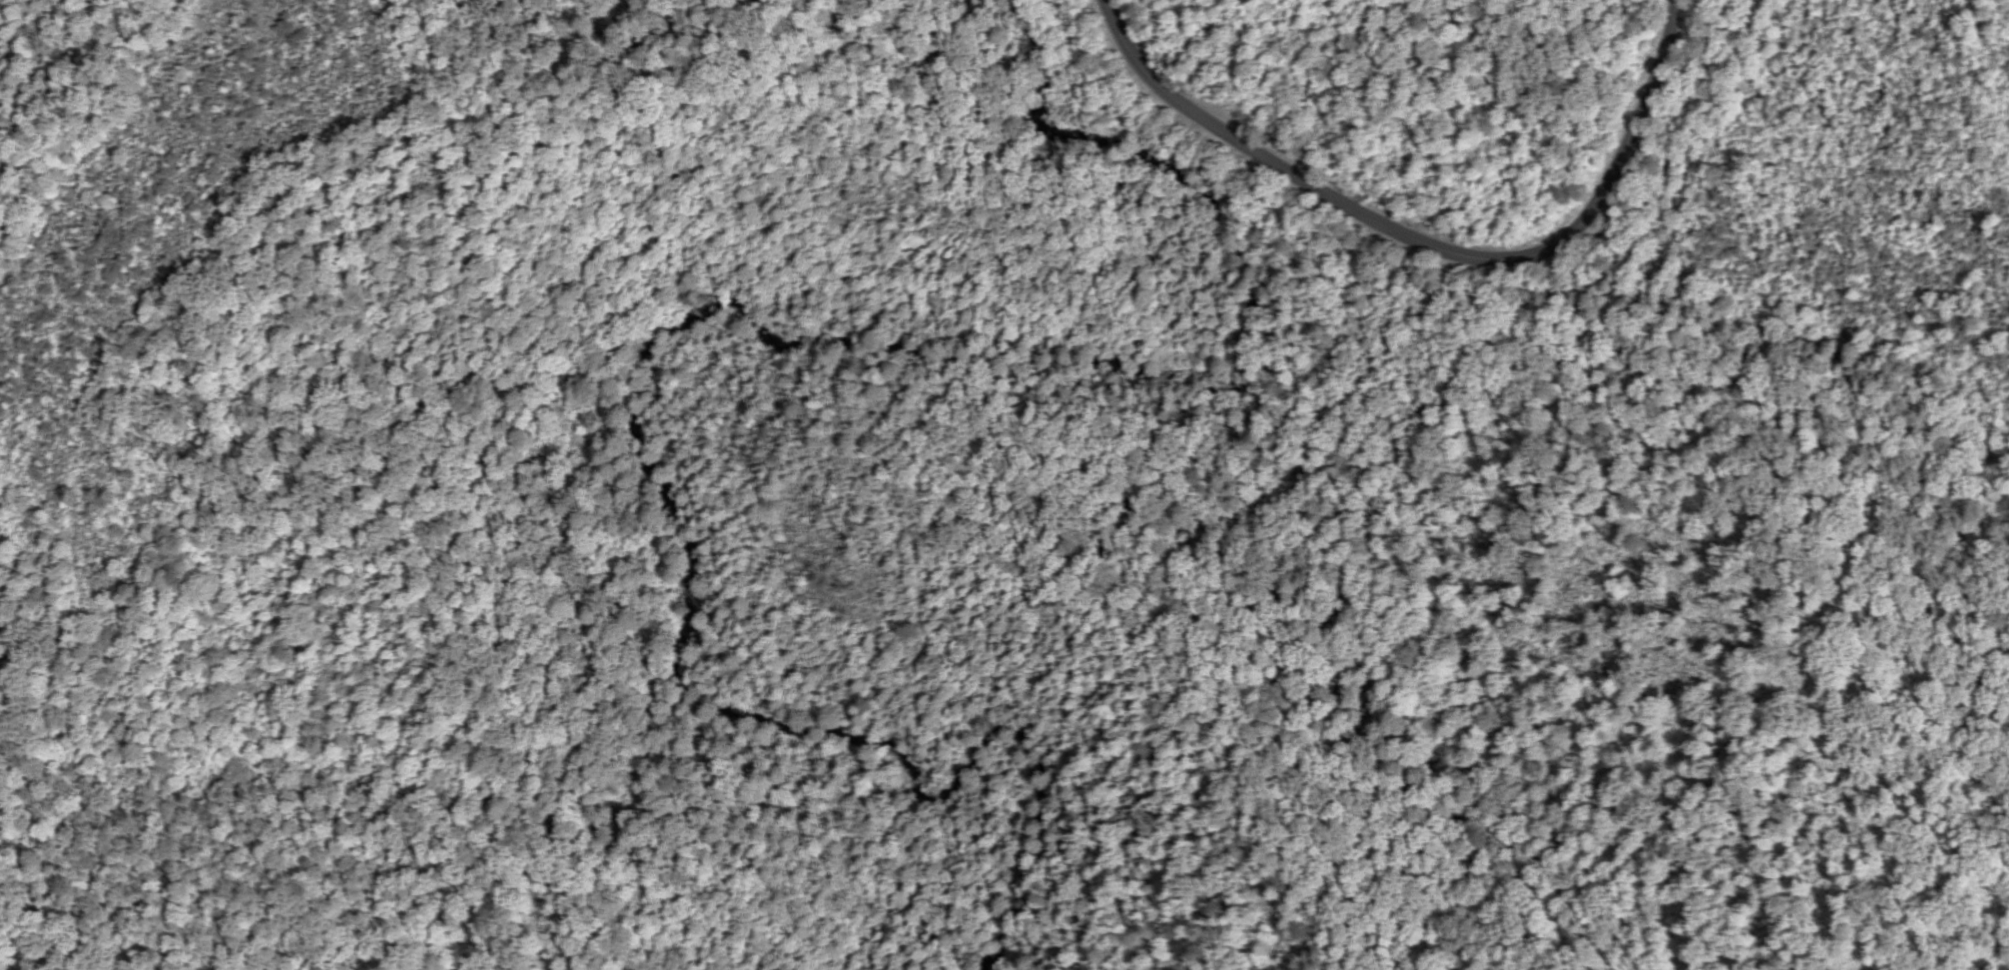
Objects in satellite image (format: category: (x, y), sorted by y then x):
road: (1426, 244)

